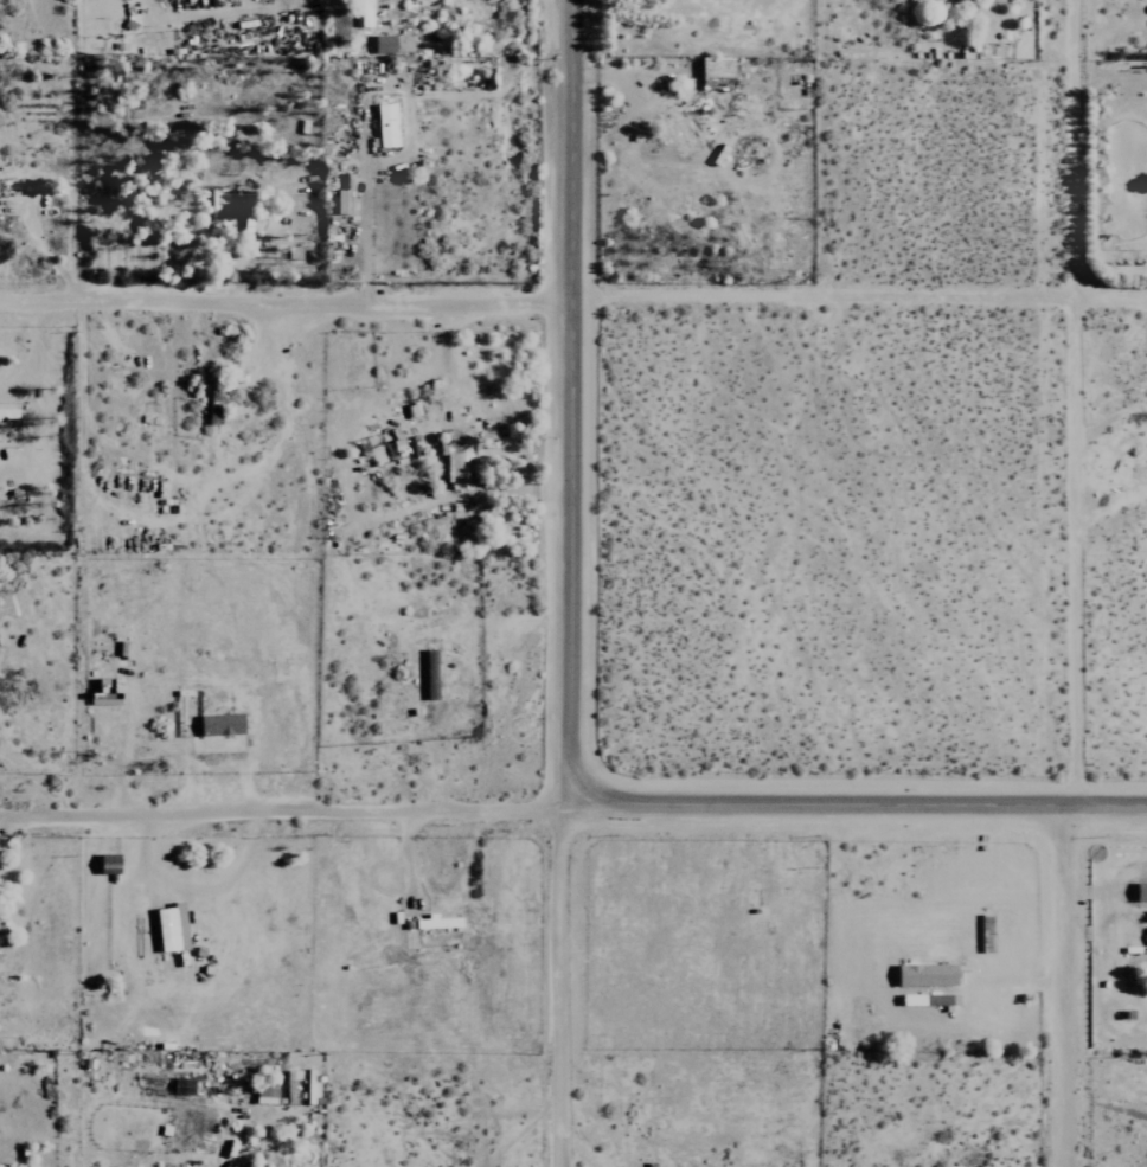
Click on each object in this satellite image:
road: (1104, 33)
road: (364, 232)
road: (44, 250)
road: (286, 307)
road: (859, 309)
road: (571, 402)
road: (1064, 403)
road: (284, 806)
road: (857, 806)
road: (570, 986)
road: (1064, 987)

